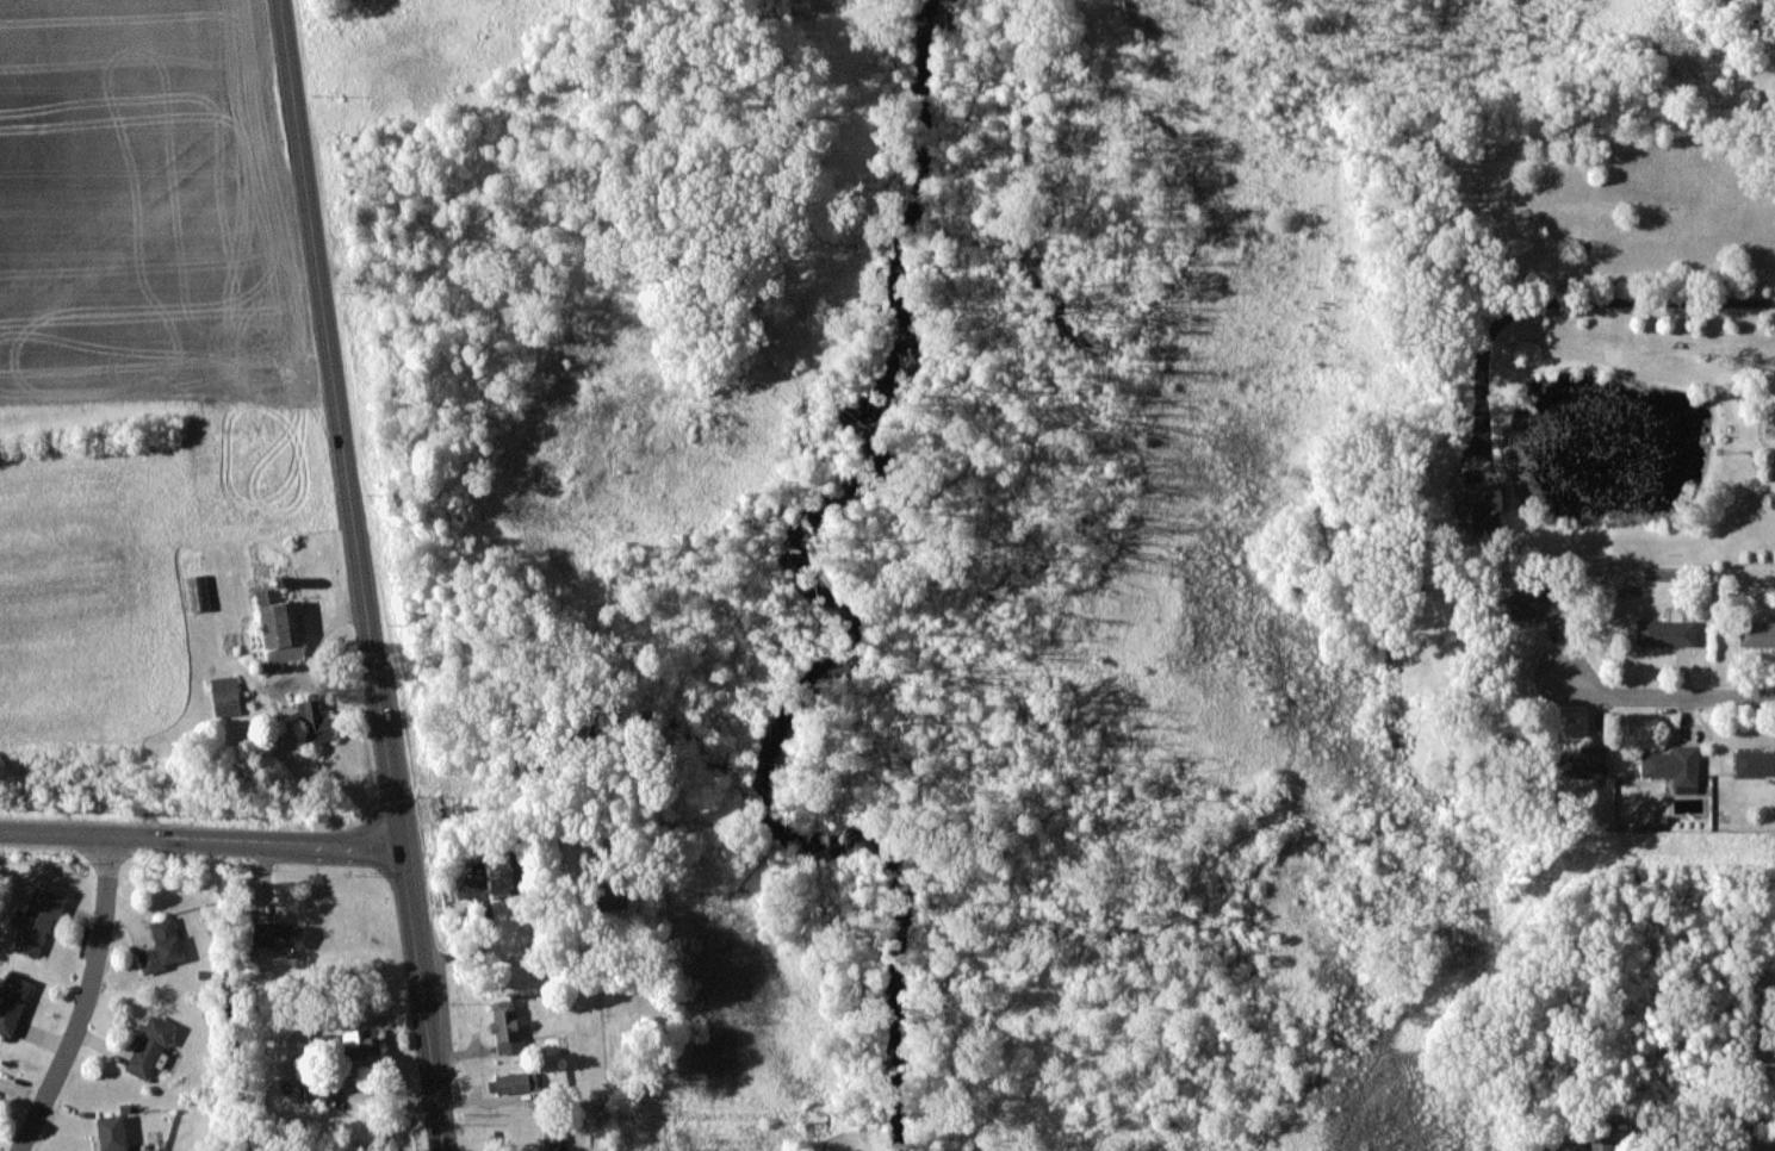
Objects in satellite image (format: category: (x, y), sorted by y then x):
road: (1565, 301)
building: (1485, 506)
road: (364, 574)
building: (199, 592)
building: (1528, 603)
building: (280, 628)
building: (1667, 632)
building: (1757, 633)
building: (225, 695)
road: (1662, 695)
building: (314, 721)
building: (1755, 761)
building: (1581, 763)
building: (1675, 766)
road: (200, 839)
building: (511, 875)
building: (610, 900)
building: (38, 919)
building: (278, 934)
building: (162, 945)
road: (88, 1000)
building: (12, 1001)
building: (507, 1026)
building: (361, 1041)
building: (149, 1046)
building: (509, 1082)
building: (318, 1093)
building: (112, 1132)
building: (1602, 1136)
building: (552, 1140)
building: (142, 1150)

